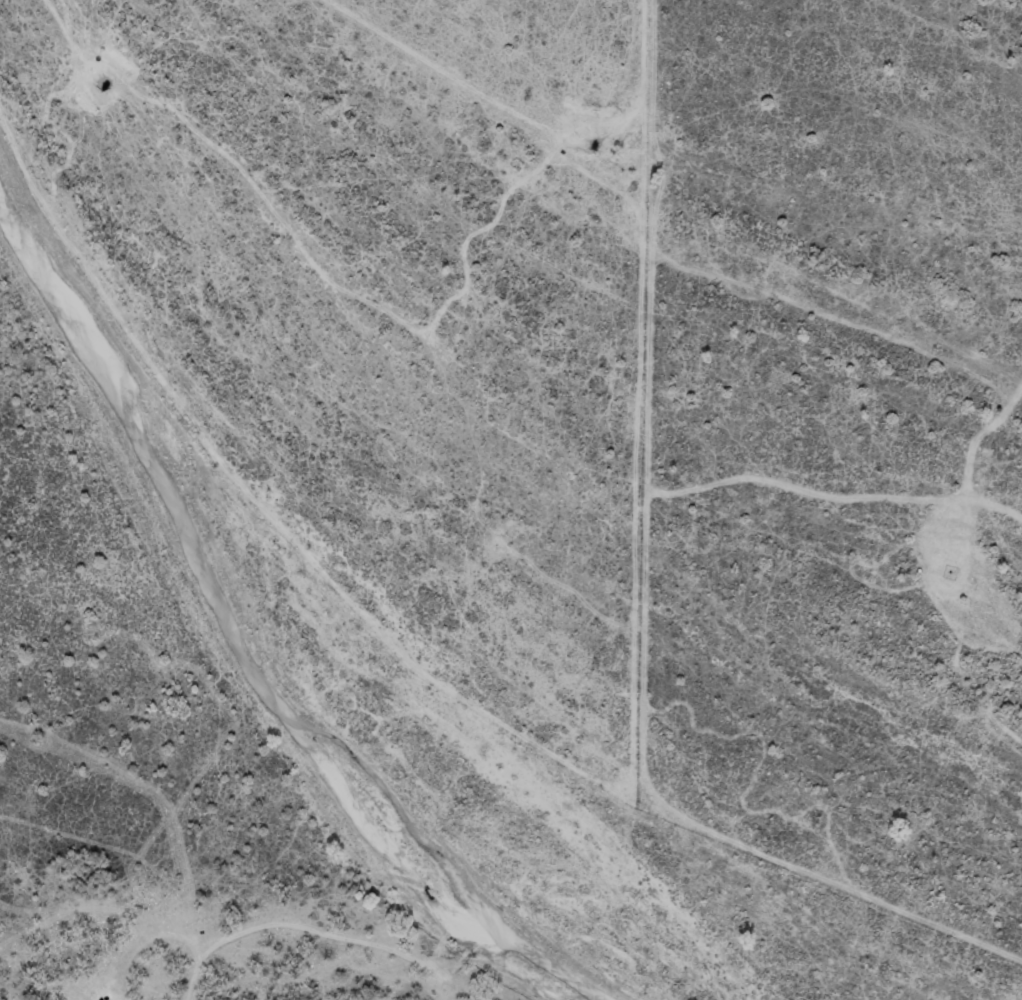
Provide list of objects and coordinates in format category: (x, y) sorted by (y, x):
river: (245, 648)
road: (82, 884)
road: (151, 991)

